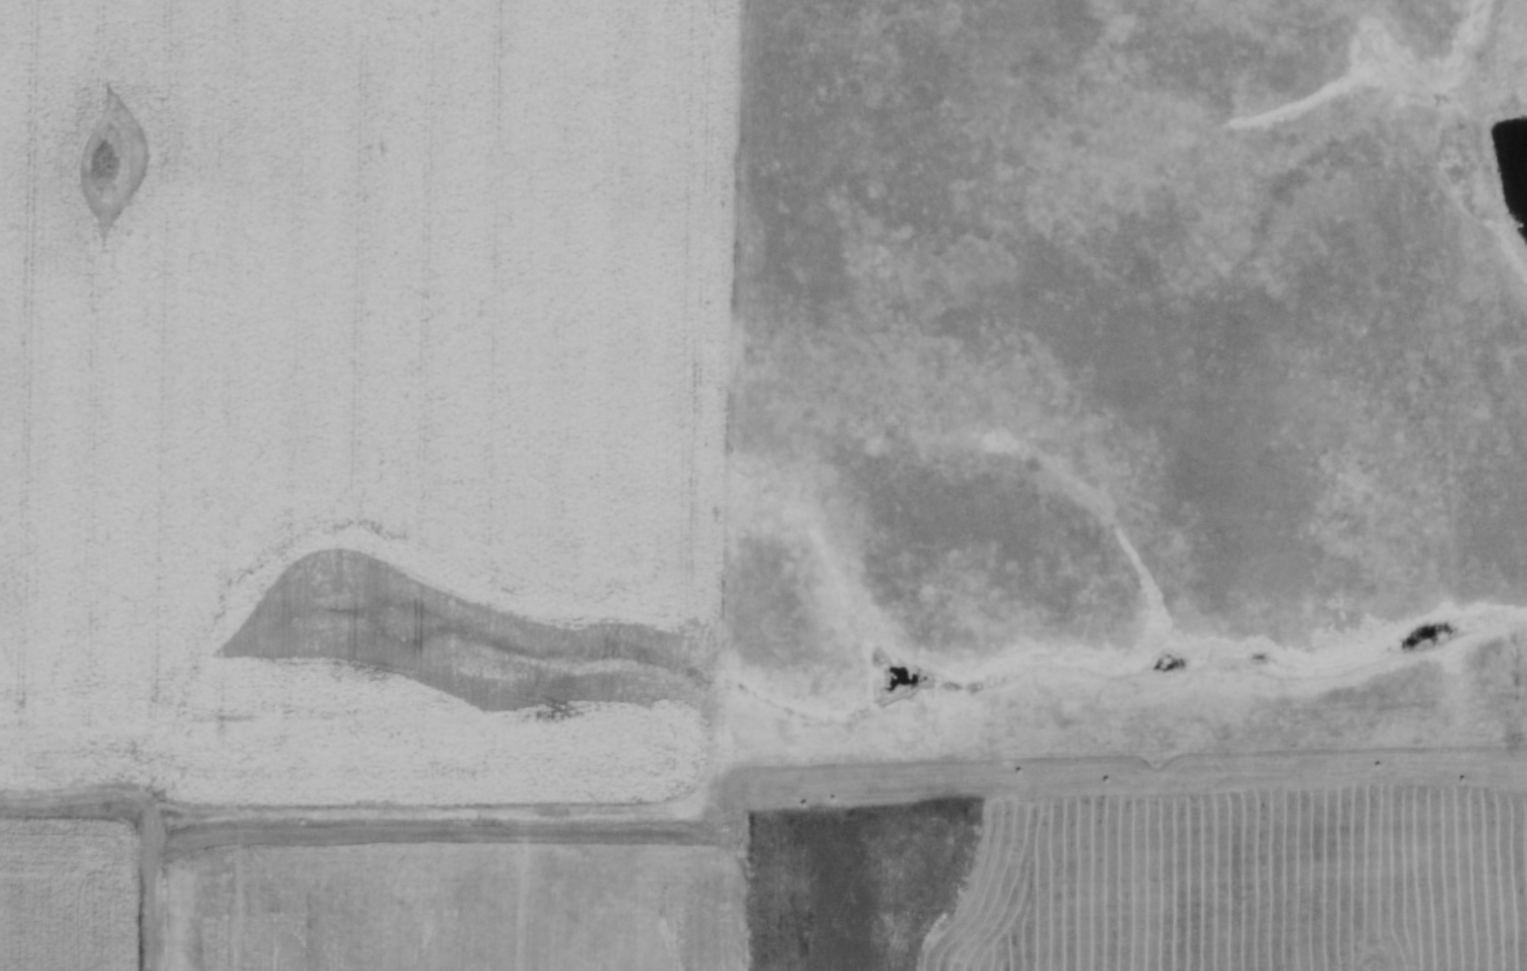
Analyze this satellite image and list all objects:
road: (704, 740)
road: (151, 885)

